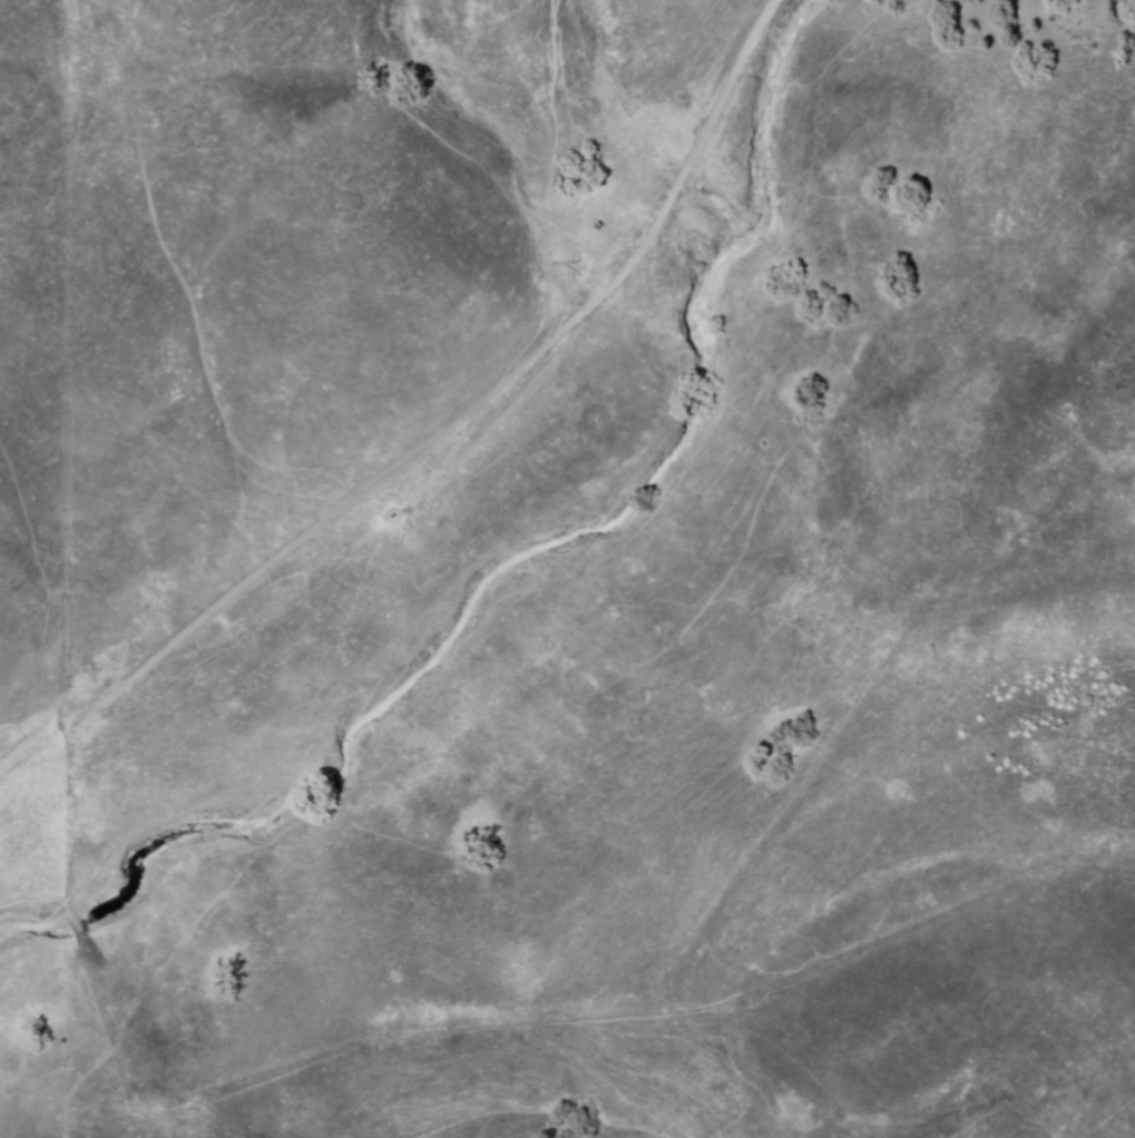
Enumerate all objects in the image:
road: (440, 430)

